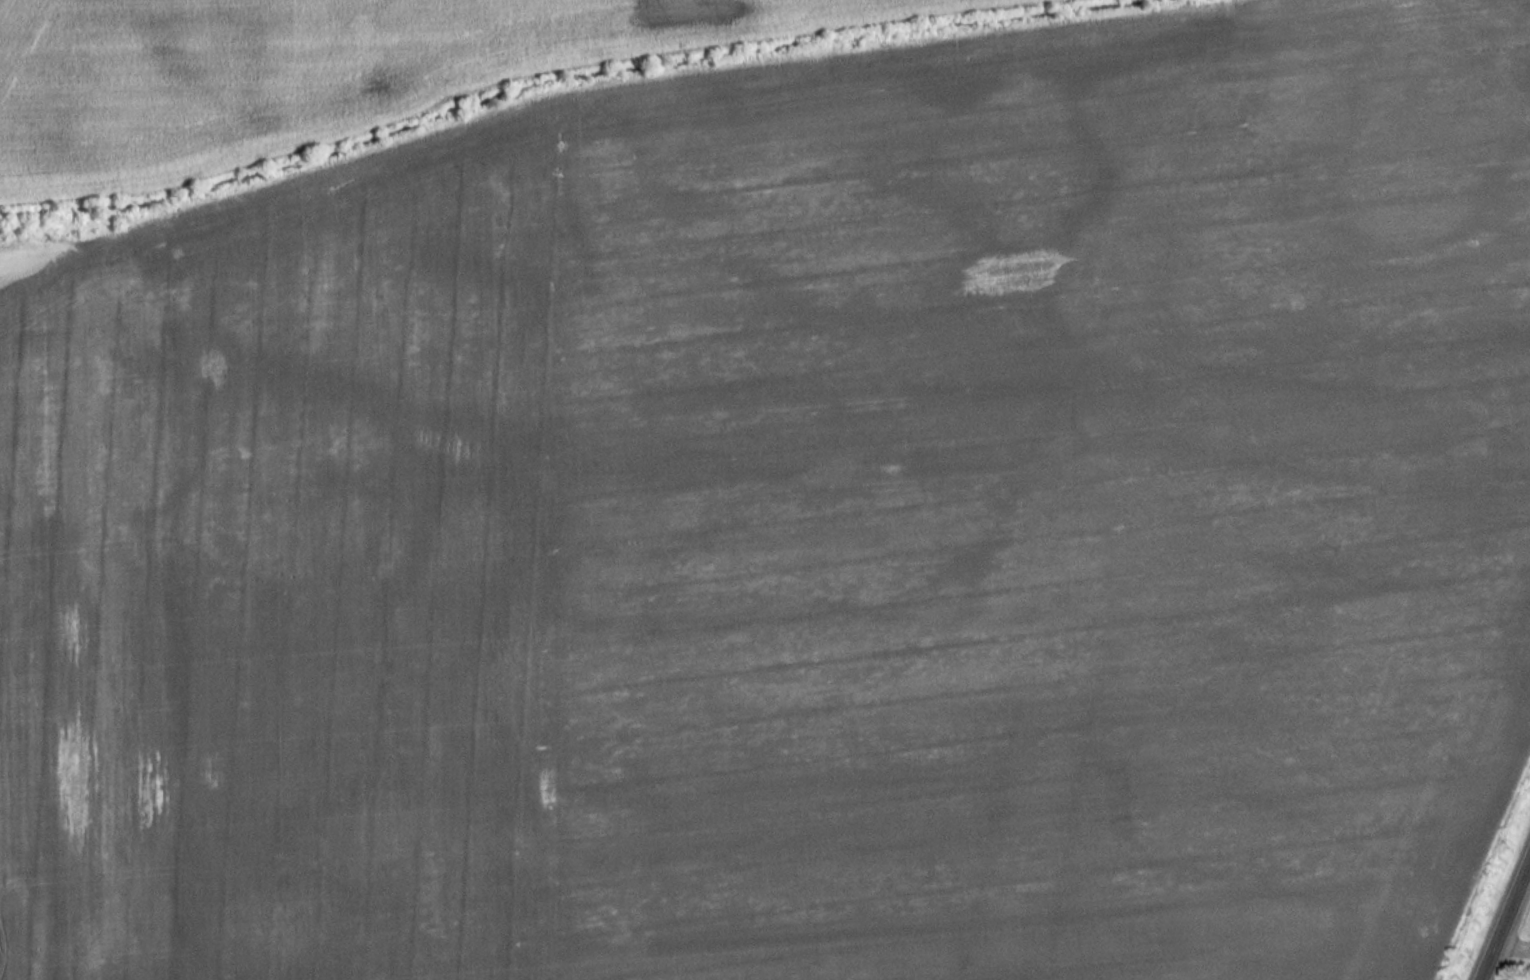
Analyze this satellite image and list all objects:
road: (1505, 920)

